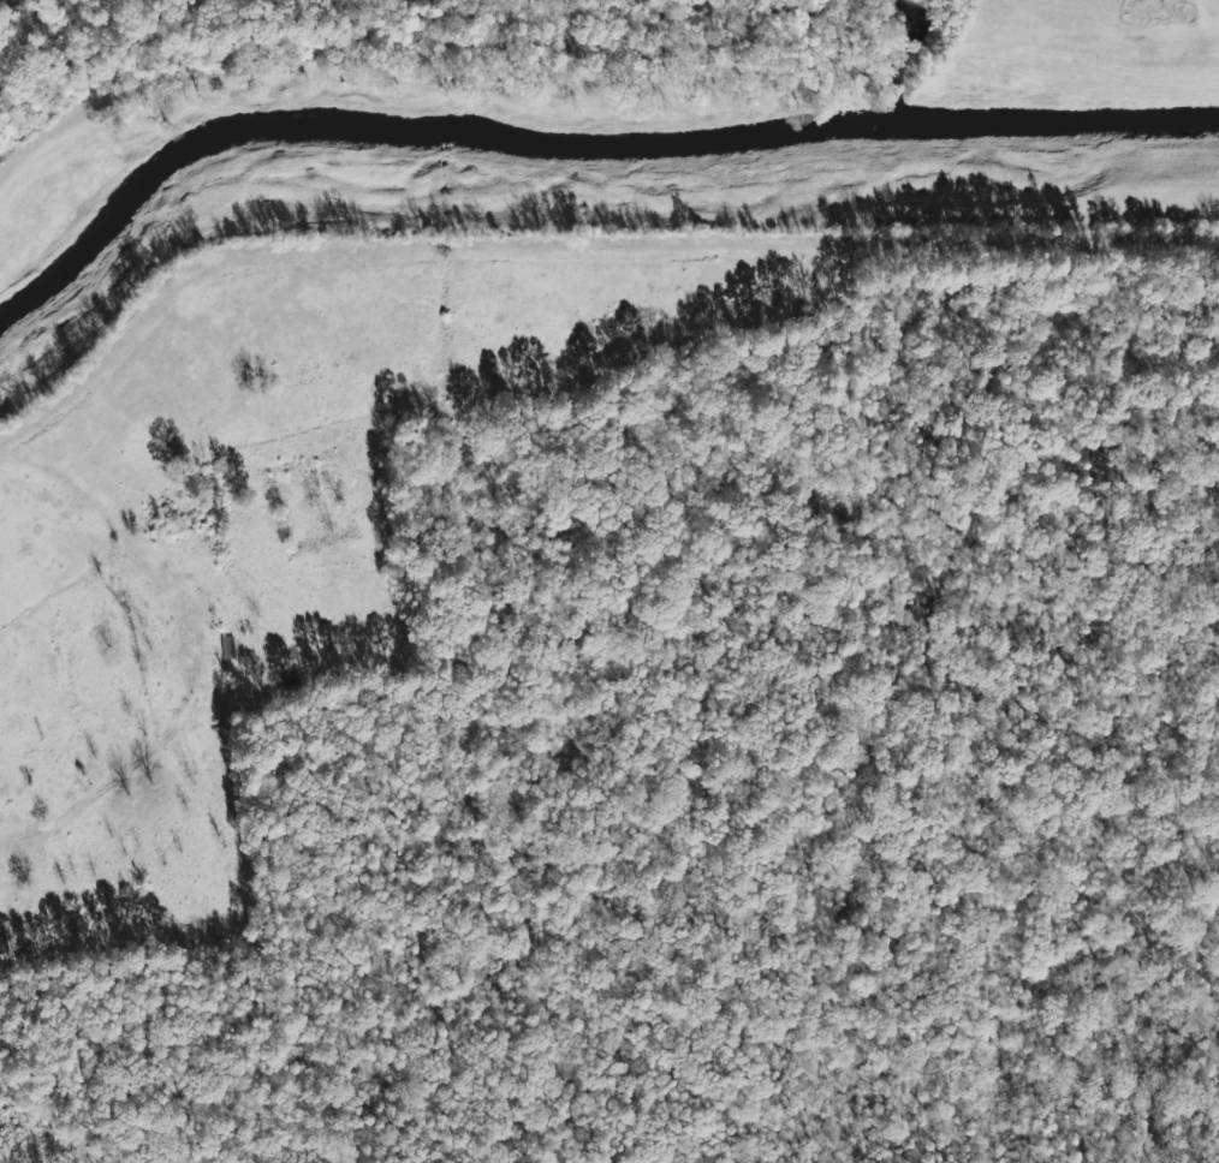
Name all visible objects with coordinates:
river: (579, 139)

